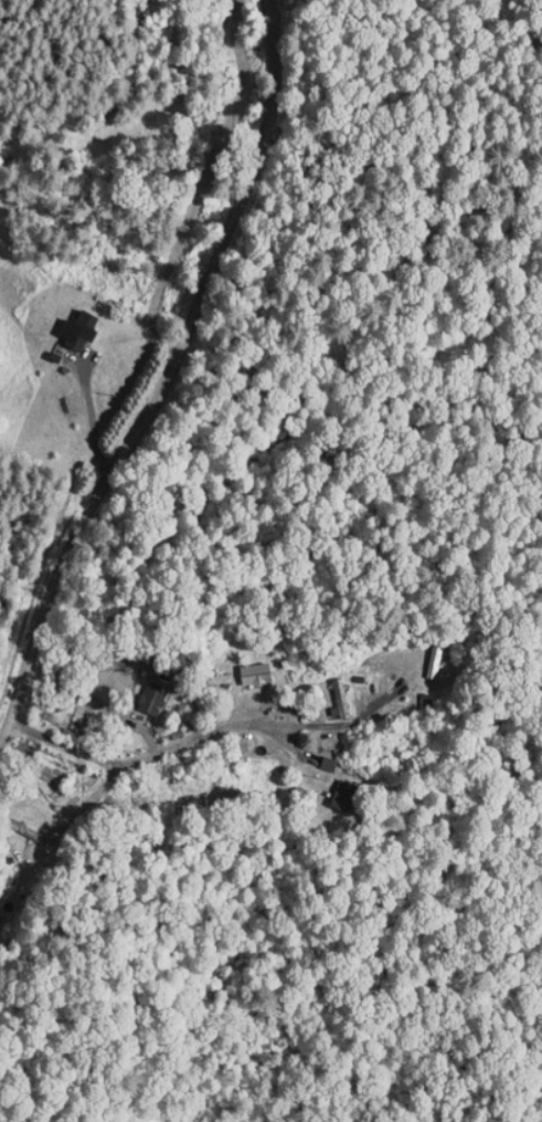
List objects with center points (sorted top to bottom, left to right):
building: (66, 322)
road: (169, 369)
building: (241, 665)
building: (138, 690)
building: (327, 691)
road: (6, 733)
road: (144, 756)
building: (313, 756)

